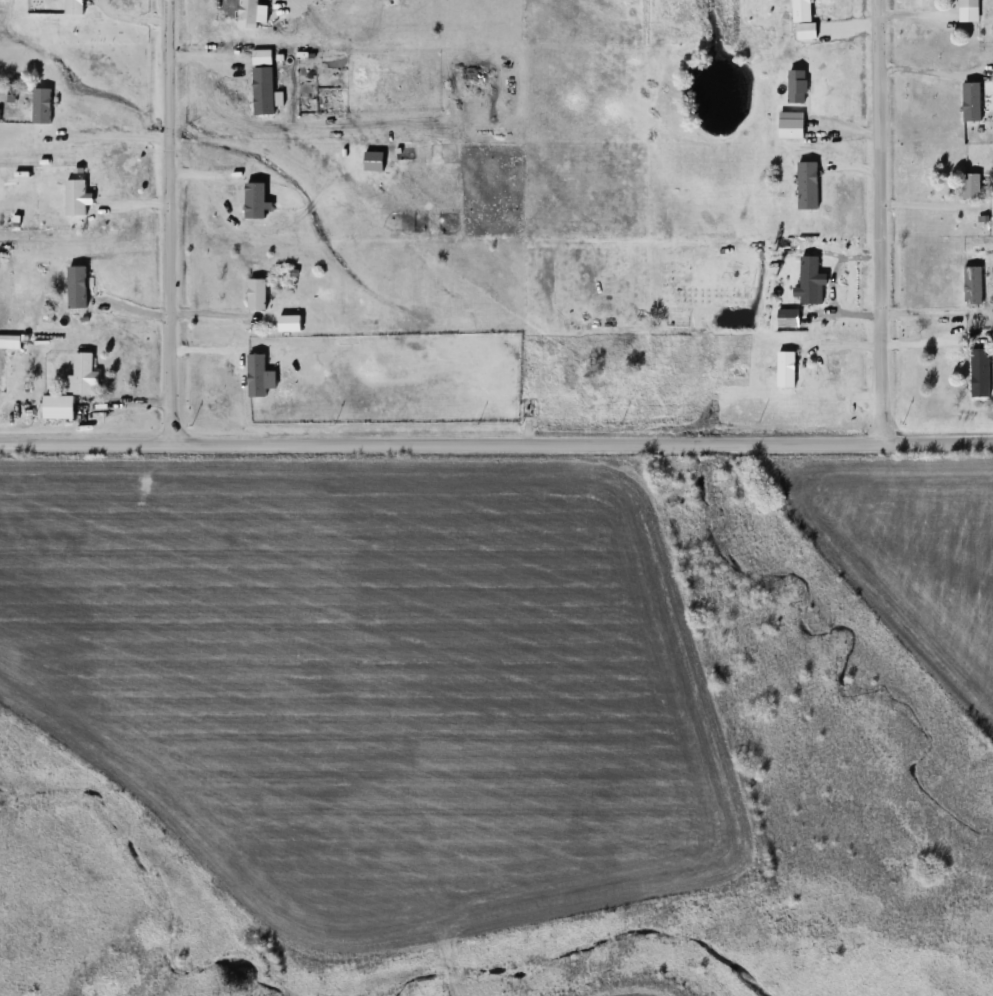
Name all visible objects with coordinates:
building: (969, 4)
building: (75, 7)
building: (801, 11)
road: (128, 18)
road: (936, 84)
building: (798, 88)
building: (13, 92)
road: (111, 131)
building: (809, 187)
building: (972, 187)
building: (76, 199)
road: (880, 219)
road: (162, 222)
building: (974, 285)
building: (258, 296)
building: (14, 343)
building: (982, 373)
building: (84, 374)
building: (60, 408)
road: (496, 443)

